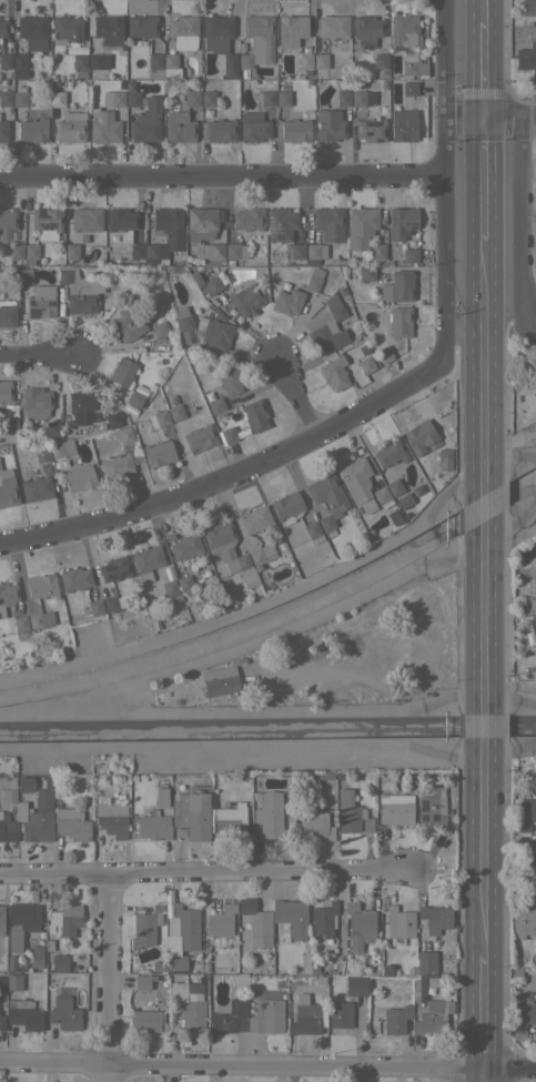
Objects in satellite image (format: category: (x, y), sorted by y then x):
building: (529, 8)
road: (484, 10)
building: (528, 22)
building: (142, 26)
building: (333, 26)
building: (3, 28)
building: (67, 29)
building: (291, 29)
building: (367, 29)
building: (32, 31)
building: (108, 31)
building: (403, 31)
building: (216, 32)
building: (256, 40)
building: (180, 41)
building: (241, 44)
building: (77, 48)
road: (445, 59)
building: (527, 59)
building: (20, 60)
building: (320, 60)
building: (381, 60)
building: (6, 61)
building: (80, 61)
building: (99, 61)
building: (154, 61)
building: (305, 62)
building: (230, 65)
building: (413, 65)
road: (484, 69)
building: (383, 72)
building: (80, 73)
building: (19, 75)
building: (358, 82)
building: (409, 88)
building: (4, 98)
building: (19, 98)
building: (57, 98)
building: (113, 98)
building: (132, 98)
building: (192, 98)
building: (208, 98)
building: (267, 98)
building: (283, 98)
building: (342, 98)
building: (362, 98)
road: (465, 118)
road: (503, 118)
road: (528, 118)
building: (146, 121)
building: (403, 124)
building: (253, 125)
building: (328, 125)
building: (32, 127)
building: (104, 127)
building: (179, 127)
building: (69, 128)
building: (371, 129)
building: (220, 130)
building: (295, 130)
building: (3, 131)
road: (12, 149)
road: (222, 178)
road: (484, 178)
road: (523, 216)
building: (87, 219)
building: (249, 219)
building: (47, 222)
building: (121, 222)
building: (401, 222)
building: (7, 223)
building: (281, 223)
building: (328, 223)
building: (361, 226)
building: (164, 235)
building: (204, 235)
building: (232, 236)
road: (445, 240)
building: (17, 245)
building: (315, 250)
building: (31, 251)
building: (71, 251)
building: (136, 251)
building: (235, 251)
building: (297, 251)
building: (378, 251)
building: (411, 255)
building: (229, 262)
building: (242, 262)
building: (366, 272)
building: (24, 275)
building: (314, 279)
building: (213, 284)
building: (398, 286)
building: (342, 290)
building: (79, 291)
building: (61, 294)
building: (21, 300)
building: (246, 300)
building: (41, 302)
building: (287, 302)
building: (334, 306)
building: (7, 314)
building: (183, 317)
building: (400, 322)
building: (127, 325)
building: (161, 331)
building: (213, 333)
building: (326, 337)
road: (38, 354)
building: (383, 354)
road: (484, 355)
building: (365, 364)
building: (122, 371)
building: (333, 375)
building: (230, 381)
building: (535, 381)
building: (535, 385)
building: (4, 390)
building: (140, 390)
road: (294, 394)
building: (134, 398)
building: (172, 400)
building: (36, 402)
building: (84, 405)
building: (215, 405)
building: (131, 409)
building: (175, 413)
building: (254, 414)
building: (159, 418)
building: (112, 419)
building: (10, 423)
building: (52, 428)
building: (123, 434)
building: (418, 434)
building: (226, 435)
building: (200, 437)
building: (61, 448)
building: (390, 452)
building: (41, 453)
building: (159, 453)
building: (444, 457)
building: (61, 463)
building: (119, 465)
road: (230, 472)
building: (79, 477)
building: (355, 478)
building: (394, 487)
building: (7, 488)
building: (37, 488)
building: (382, 496)
building: (327, 500)
building: (286, 507)
road: (488, 507)
building: (254, 519)
building: (311, 529)
building: (185, 546)
building: (230, 553)
building: (261, 555)
building: (146, 558)
building: (114, 567)
building: (74, 578)
building: (534, 582)
building: (184, 583)
building: (170, 585)
building: (41, 586)
building: (95, 593)
building: (7, 596)
building: (112, 601)
building: (94, 606)
road: (489, 615)
building: (39, 619)
building: (20, 623)
building: (530, 633)
building: (219, 680)
road: (489, 735)
building: (314, 776)
building: (24, 783)
building: (8, 788)
building: (161, 797)
building: (432, 808)
building: (395, 809)
building: (526, 811)
building: (192, 812)
building: (269, 813)
building: (351, 813)
building: (38, 817)
building: (111, 819)
building: (229, 820)
building: (71, 823)
building: (315, 825)
building: (150, 826)
building: (7, 827)
road: (487, 867)
road: (205, 874)
building: (24, 916)
building: (291, 917)
building: (435, 918)
building: (324, 919)
building: (1, 920)
building: (522, 920)
building: (63, 921)
building: (220, 922)
building: (256, 923)
building: (400, 924)
building: (145, 926)
building: (361, 929)
building: (181, 934)
building: (14, 938)
building: (37, 955)
building: (59, 962)
building: (13, 963)
building: (196, 964)
building: (423, 964)
building: (156, 965)
building: (205, 967)
building: (304, 969)
road: (105, 978)
building: (13, 981)
building: (438, 981)
building: (142, 982)
building: (2, 984)
building: (355, 985)
building: (189, 1003)
road: (484, 1010)
building: (27, 1011)
building: (63, 1011)
building: (429, 1012)
building: (524, 1013)
building: (340, 1014)
building: (227, 1015)
building: (266, 1017)
building: (307, 1018)
building: (145, 1019)
building: (396, 1019)
building: (1, 1022)
road: (267, 1064)
road: (483, 1074)

